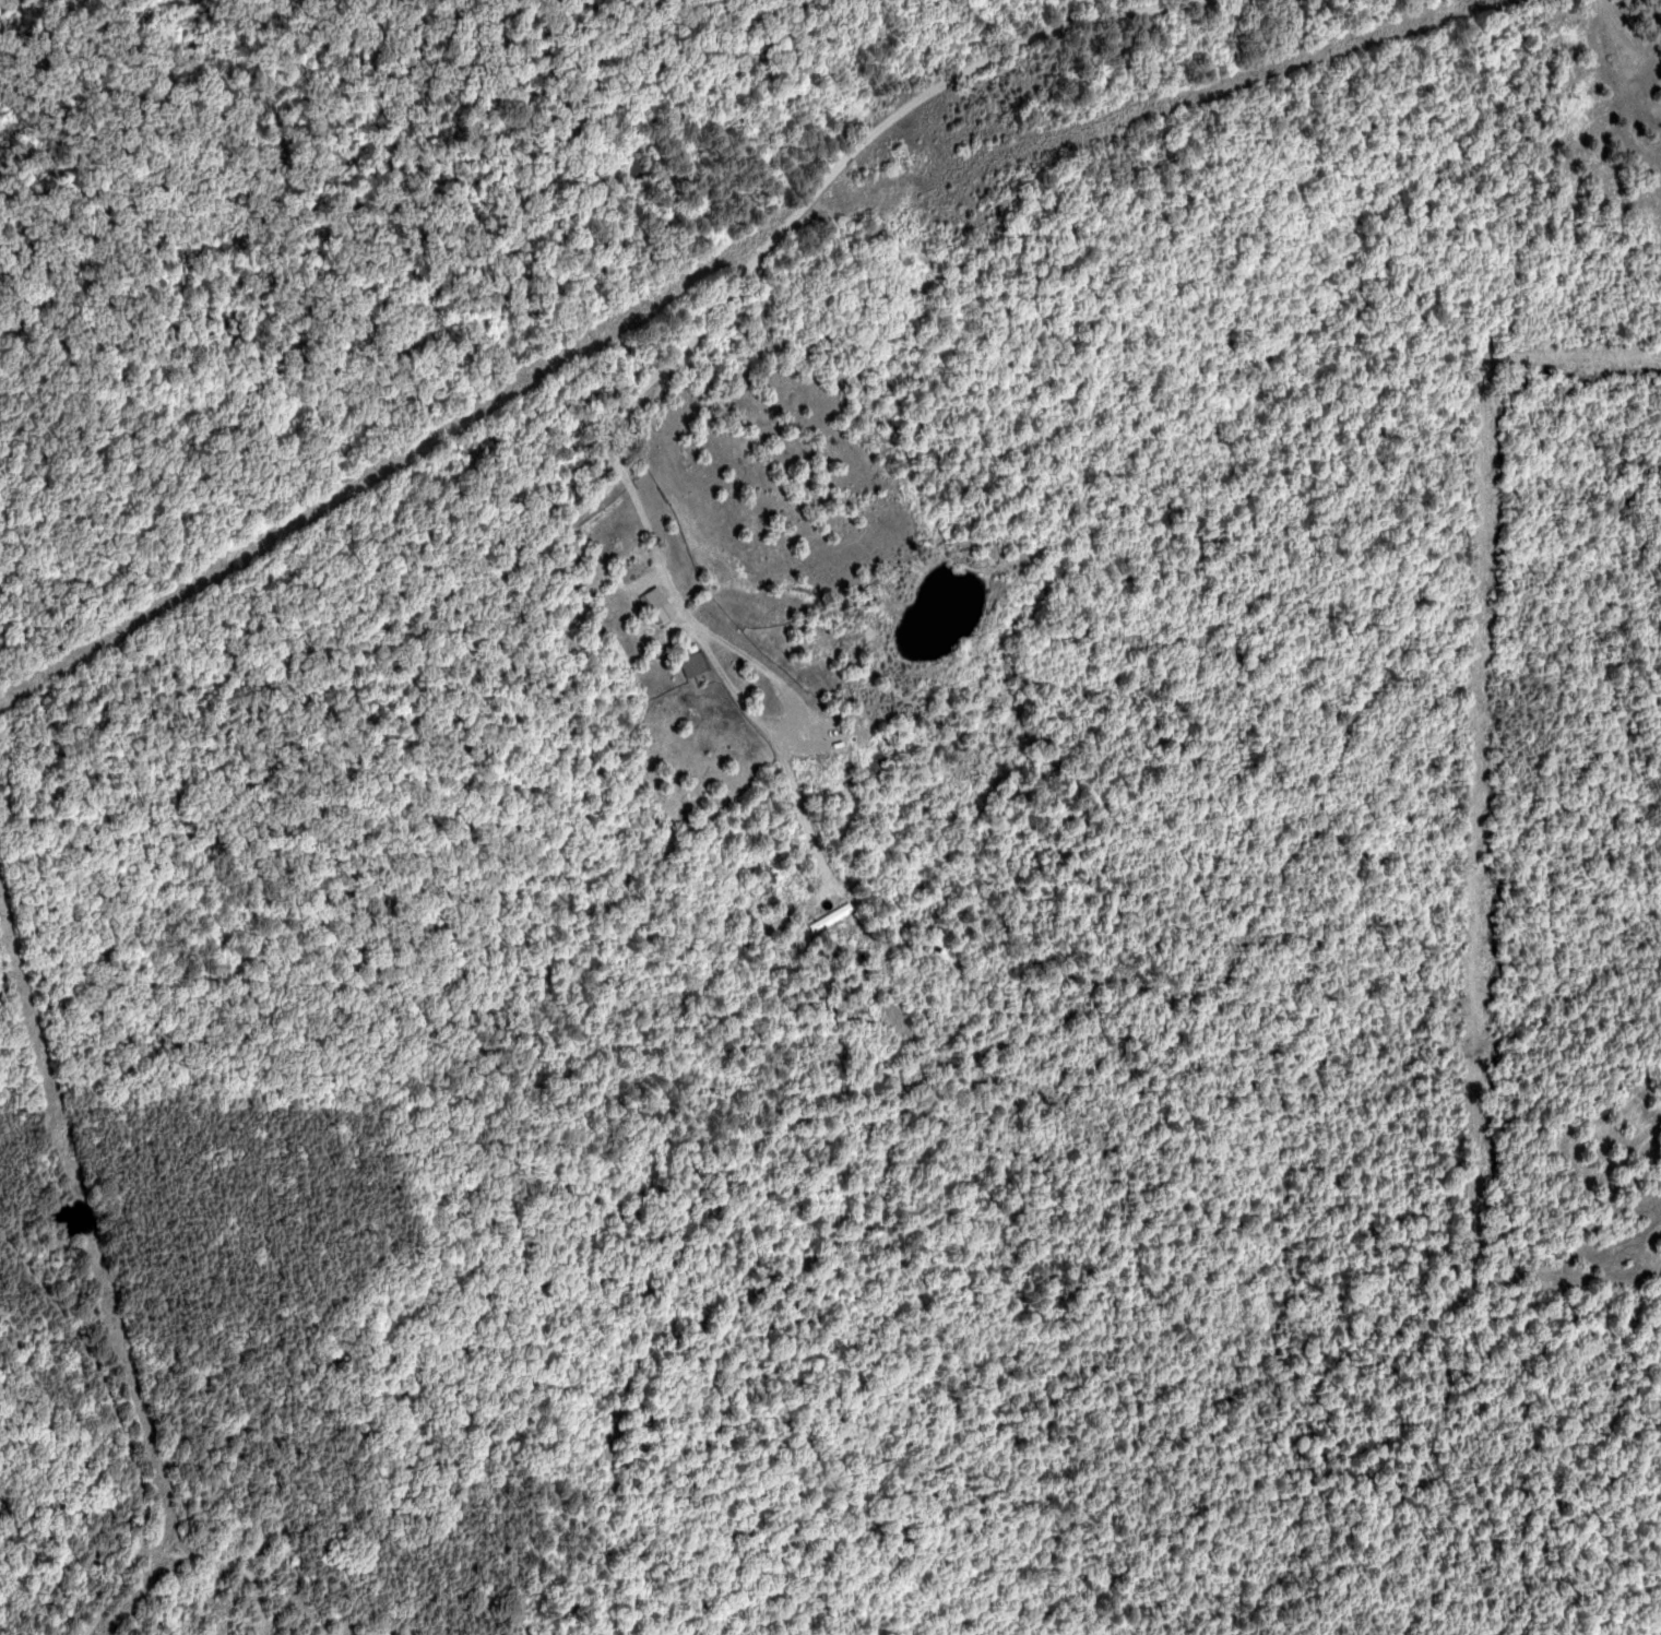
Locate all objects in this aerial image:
road: (624, 446)
road: (117, 1427)

